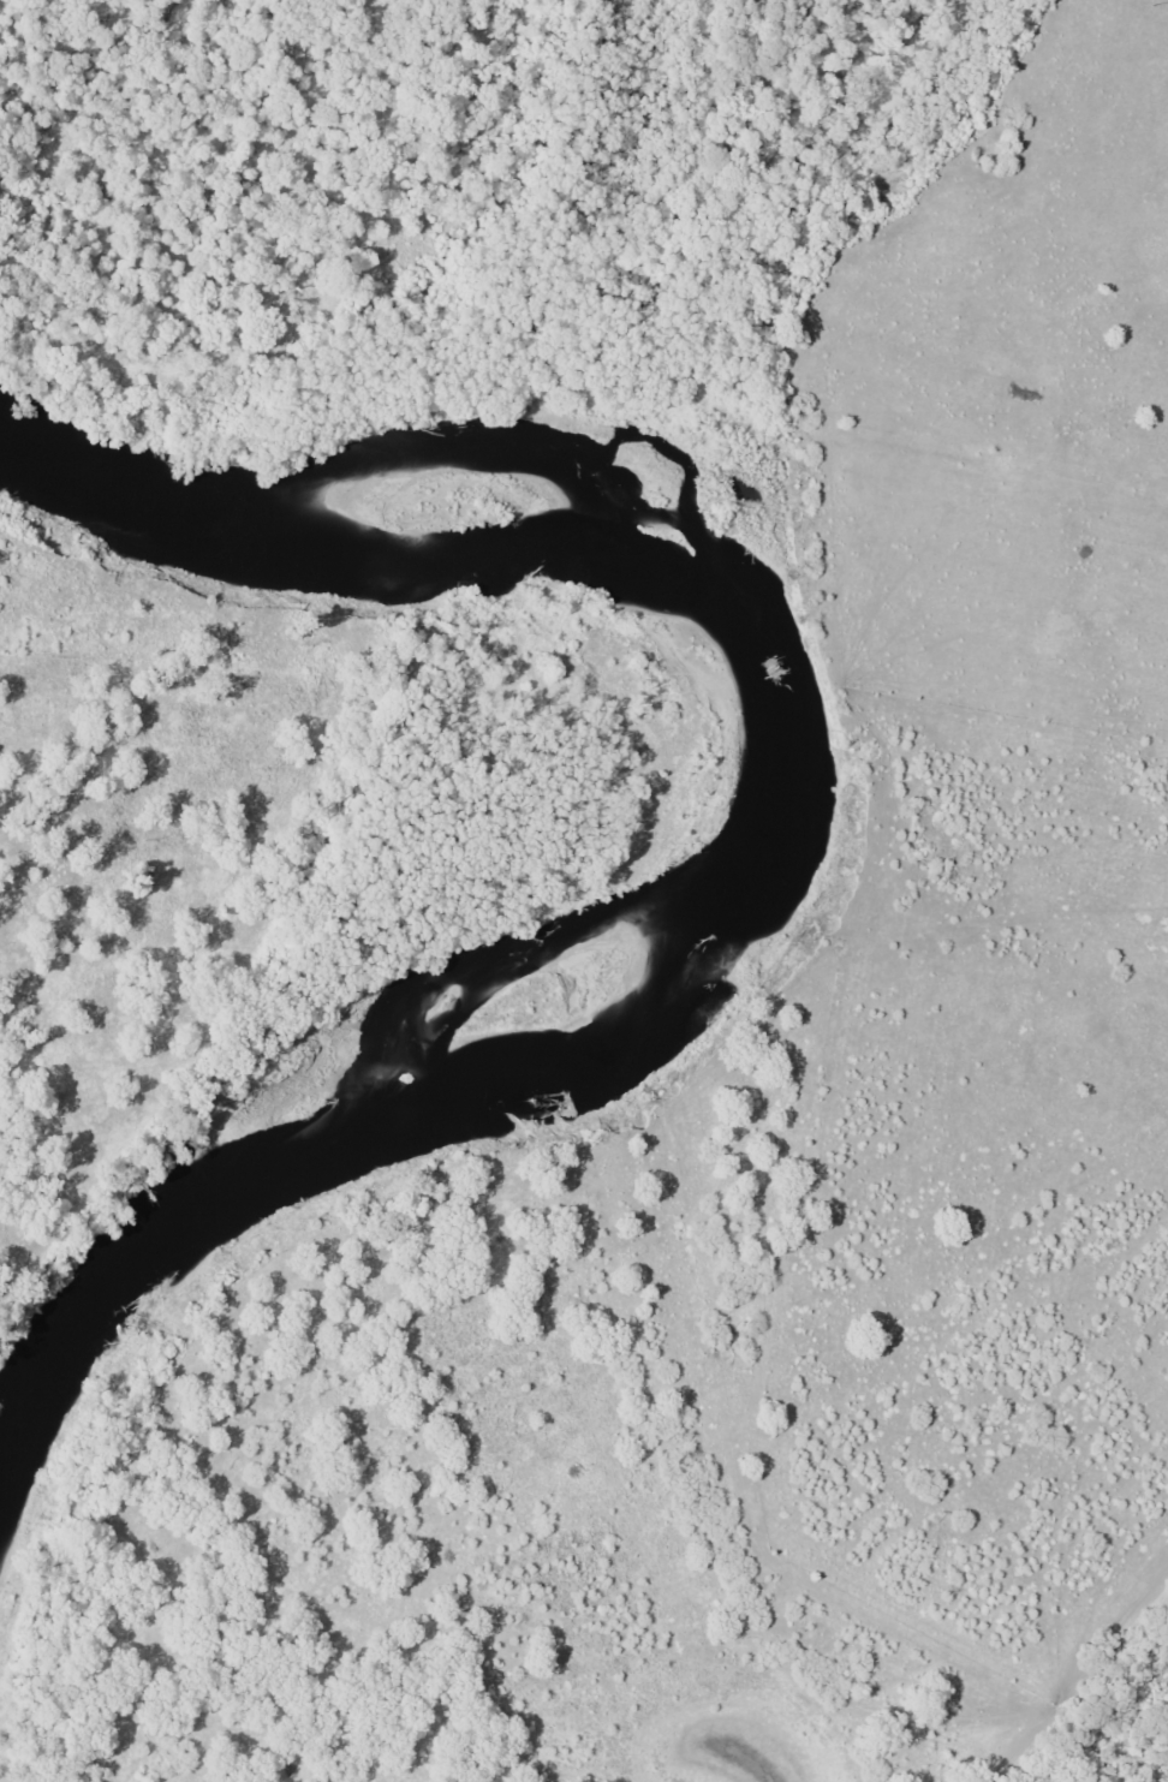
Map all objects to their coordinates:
river: (744, 811)

